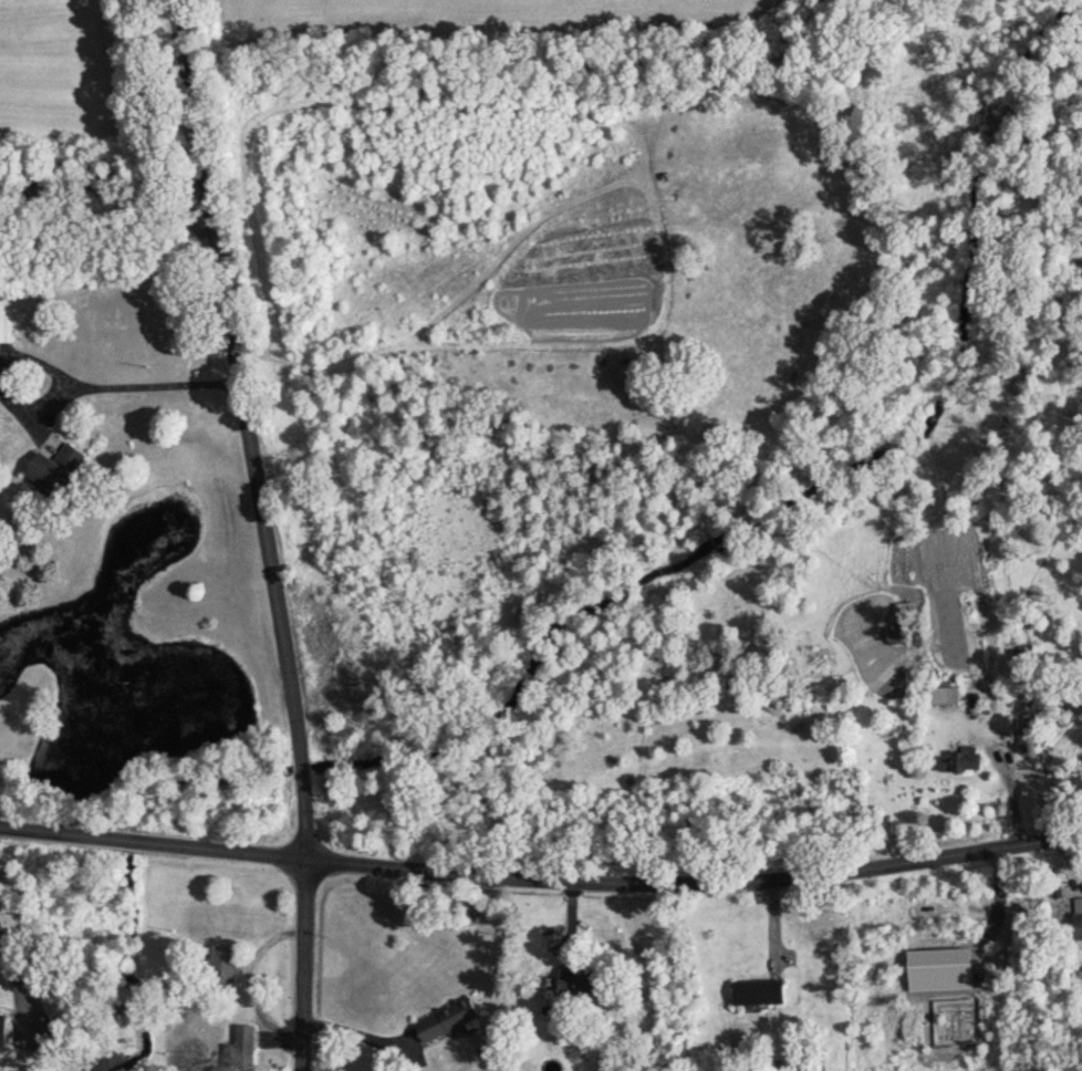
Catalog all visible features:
road: (106, 178)
building: (8, 319)
road: (38, 358)
road: (158, 384)
road: (34, 403)
road: (251, 431)
building: (58, 469)
building: (907, 609)
building: (1018, 694)
building: (943, 697)
building: (1028, 735)
building: (964, 762)
road: (155, 850)
road: (697, 888)
building: (1079, 926)
building: (227, 965)
road: (310, 968)
building: (581, 984)
building: (759, 994)
building: (451, 1021)
building: (4, 1031)
building: (241, 1046)
building: (807, 1065)

